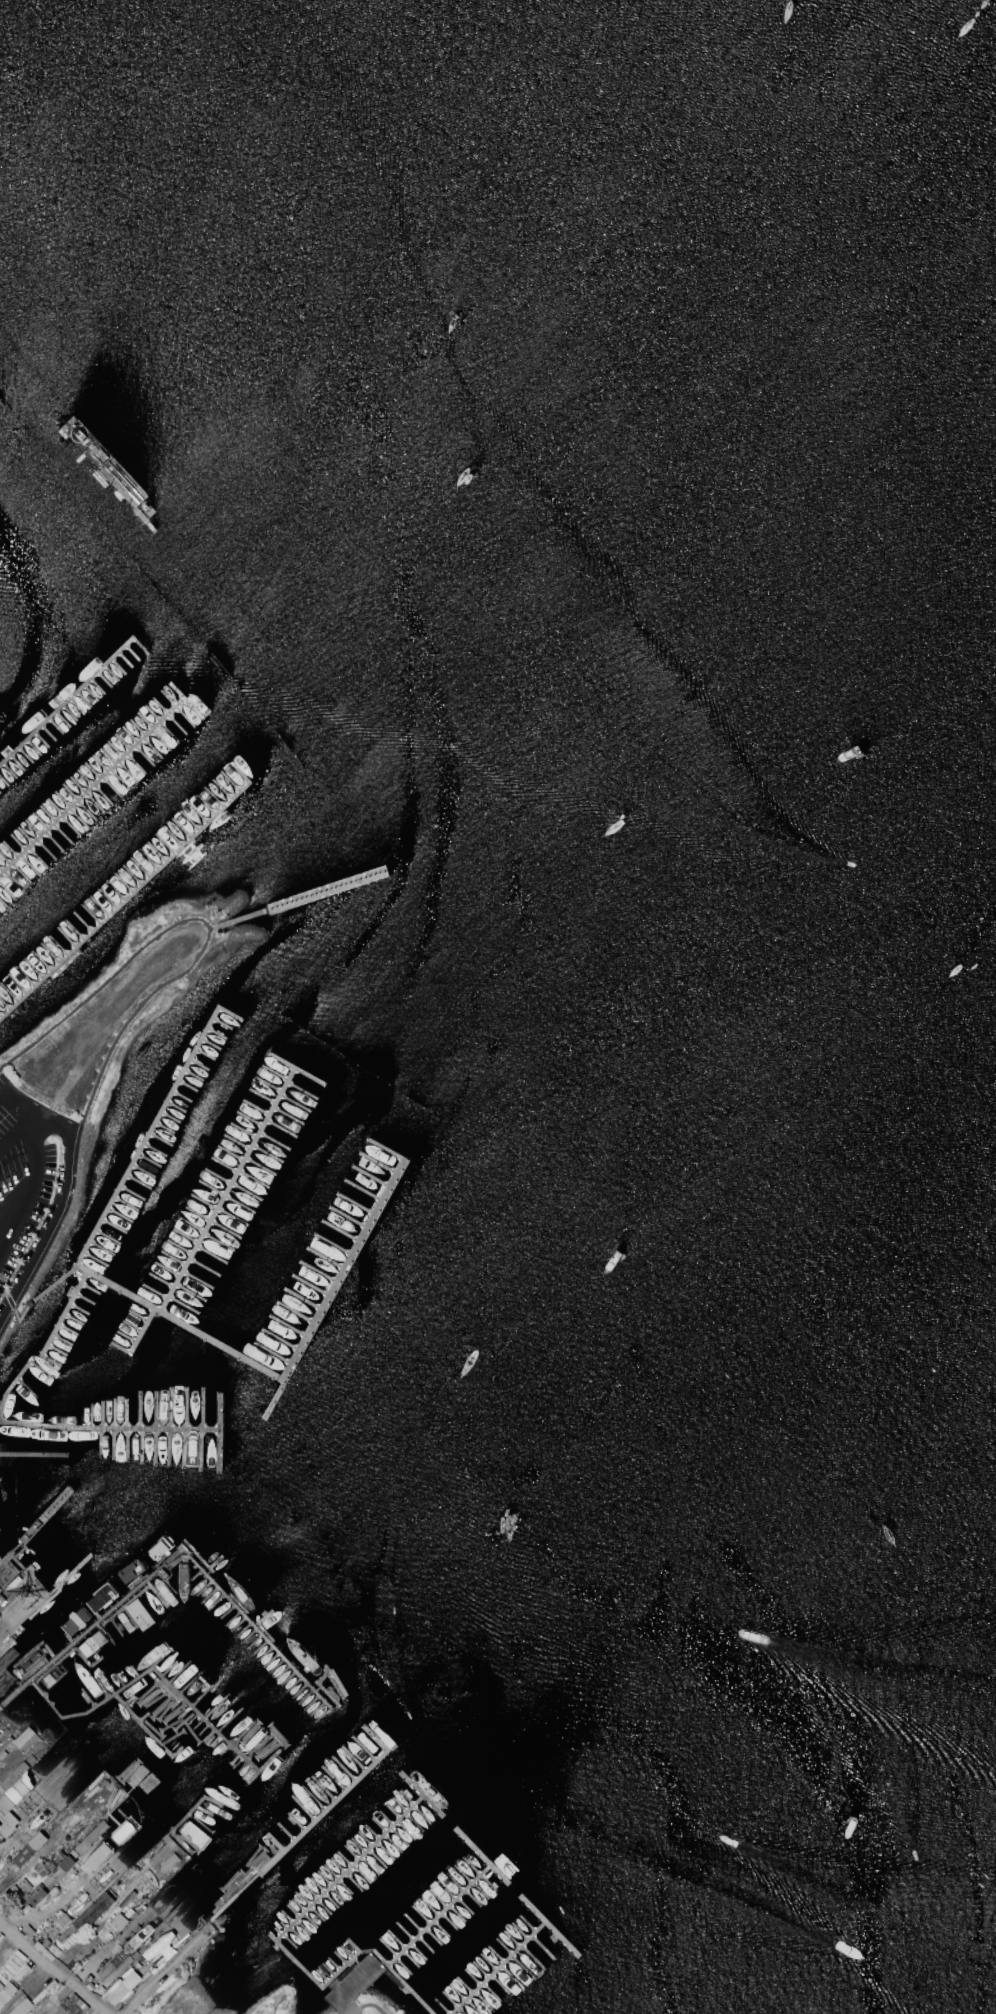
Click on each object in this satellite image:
pier: (65, 701)
pier: (95, 786)
pier: (128, 899)
pier: (306, 899)
road: (10, 1105)
pier: (148, 1138)
road: (31, 1162)
parking lot: (30, 1182)
pier: (226, 1191)
road: (5, 1216)
pier: (336, 1287)
pier: (154, 1310)
pier: (63, 1314)
pier: (140, 1331)
pier: (10, 1386)
pier: (109, 1424)
pier: (34, 1456)
pier: (44, 1519)
pier: (186, 1548)
pier: (69, 1574)
pier: (149, 1668)
pier: (142, 1724)
parking lot: (2, 1729)
building: (22, 1736)
parking lot: (0, 1762)
pier: (421, 1794)
pier: (308, 1825)
building: (122, 1830)
building: (93, 1833)
building: (28, 1848)
pier: (484, 1859)
building: (66, 1862)
building: (37, 1896)
pier: (322, 1898)
building: (92, 1911)
pier: (438, 1917)
building: (118, 1921)
pier: (549, 1926)
road: (52, 1963)
pier: (499, 1968)
road: (159, 1973)
building: (121, 1986)
building: (6, 1991)
pier: (412, 1992)
building: (71, 2005)
road: (374, 2005)
building: (20, 2006)
road: (355, 2009)

